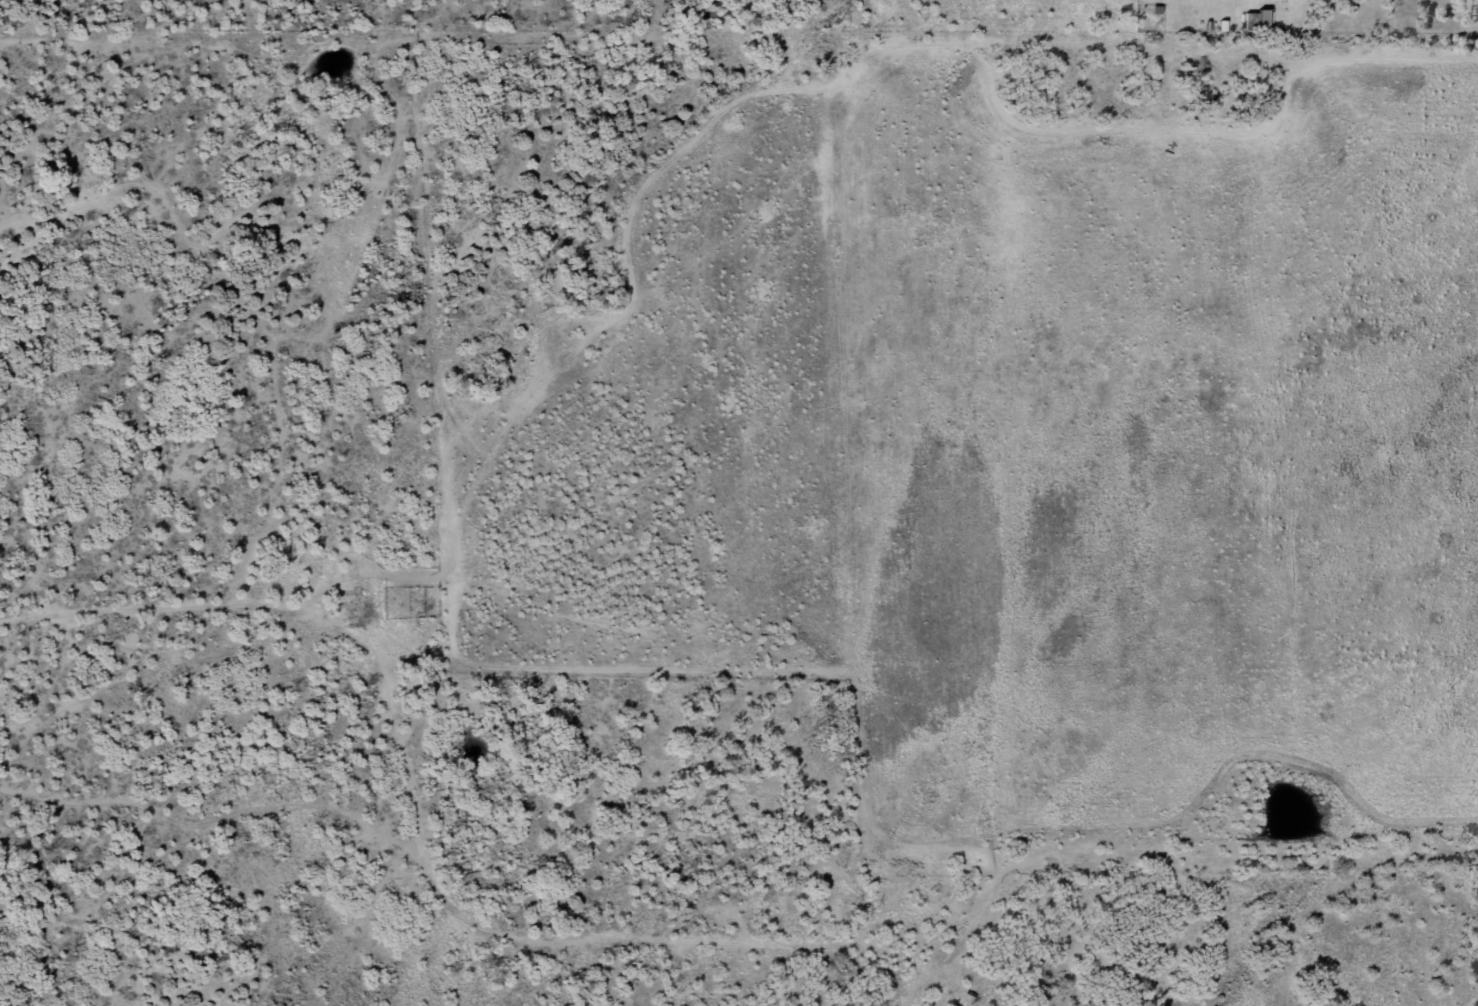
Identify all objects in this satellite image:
building: (1254, 24)
road: (659, 954)

